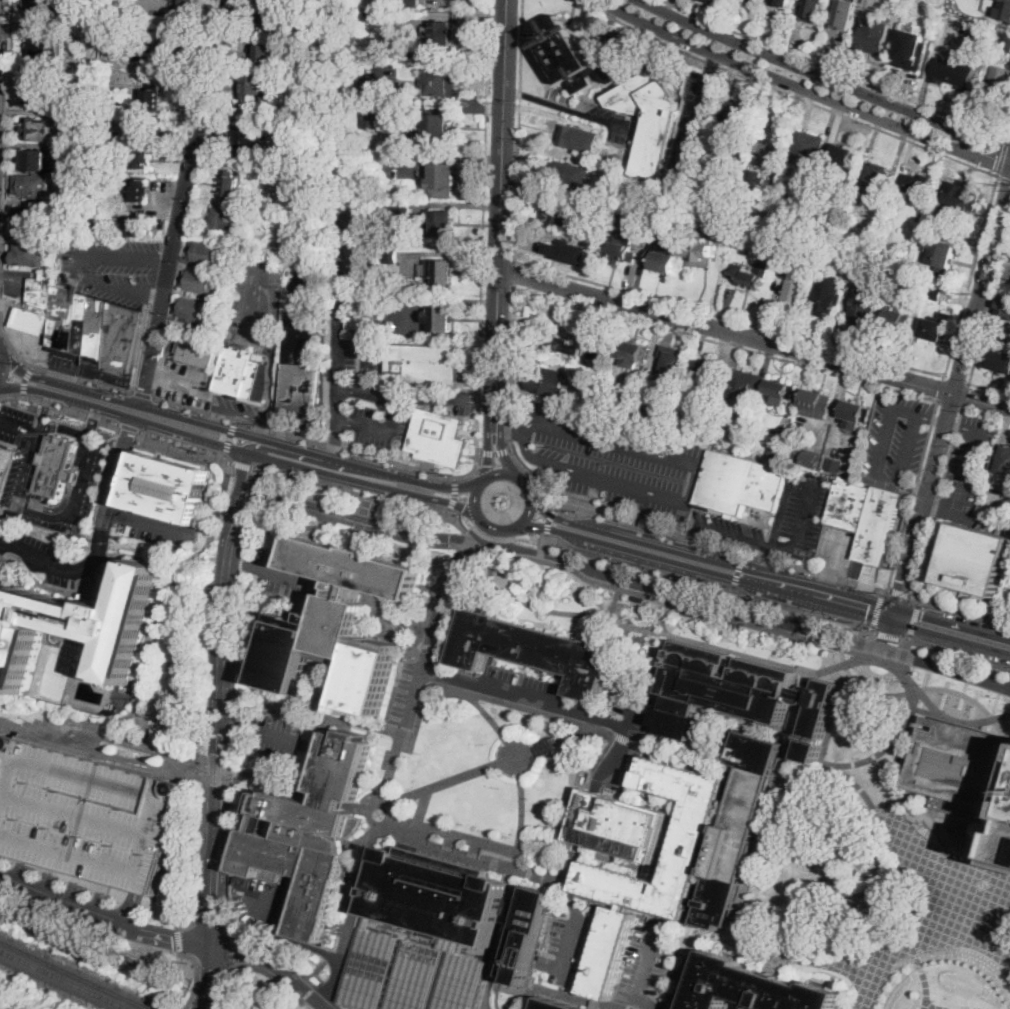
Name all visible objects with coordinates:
building: (272, 1)
building: (710, 1)
building: (411, 2)
building: (781, 2)
building: (375, 3)
road: (669, 5)
building: (182, 6)
building: (46, 7)
building: (1000, 8)
building: (813, 10)
building: (131, 11)
building: (922, 11)
building: (408, 14)
building: (846, 15)
building: (276, 20)
building: (981, 30)
building: (94, 31)
road: (641, 32)
building: (175, 33)
building: (443, 33)
building: (874, 36)
building: (140, 39)
building: (1006, 42)
building: (111, 43)
building: (46, 46)
building: (911, 48)
building: (269, 53)
building: (107, 54)
road: (713, 62)
road: (712, 65)
road: (834, 70)
building: (954, 74)
road: (825, 76)
building: (445, 84)
building: (260, 86)
building: (996, 86)
road: (803, 88)
building: (615, 91)
building: (42, 93)
building: (400, 94)
building: (149, 96)
road: (536, 98)
building: (94, 109)
building: (321, 112)
building: (375, 117)
road: (603, 119)
building: (88, 120)
building: (739, 120)
road: (859, 120)
building: (115, 124)
building: (38, 129)
building: (143, 129)
road: (519, 129)
building: (94, 131)
building: (435, 131)
road: (694, 131)
building: (579, 138)
road: (1008, 138)
road: (1009, 138)
building: (245, 142)
road: (6, 147)
building: (807, 149)
building: (110, 150)
building: (87, 153)
building: (844, 154)
road: (1002, 155)
building: (137, 159)
building: (40, 160)
traffic signals: (994, 164)
building: (568, 175)
road: (1003, 178)
building: (443, 180)
building: (752, 183)
building: (874, 183)
building: (230, 184)
building: (637, 184)
traffic signals: (1009, 184)
building: (917, 185)
building: (33, 186)
building: (132, 191)
building: (959, 198)
road: (187, 202)
building: (821, 205)
building: (663, 210)
building: (105, 211)
building: (557, 211)
building: (738, 213)
road: (499, 214)
building: (701, 215)
building: (30, 216)
building: (388, 216)
building: (225, 219)
building: (723, 221)
building: (311, 224)
building: (130, 225)
building: (443, 225)
building: (786, 225)
building: (288, 234)
building: (789, 240)
building: (54, 242)
building: (621, 243)
building: (698, 248)
road: (351, 250)
building: (941, 251)
building: (565, 252)
building: (206, 253)
building: (30, 254)
building: (390, 256)
building: (663, 256)
building: (305, 257)
building: (847, 259)
building: (864, 263)
road: (83, 264)
parking lot: (114, 267)
road: (514, 271)
building: (441, 273)
building: (747, 277)
building: (794, 277)
building: (199, 280)
building: (919, 289)
building: (935, 293)
road: (307, 295)
building: (827, 295)
building: (219, 297)
building: (865, 302)
road: (340, 304)
building: (1004, 305)
building: (533, 309)
road: (989, 309)
building: (196, 310)
road: (253, 312)
road: (0, 318)
building: (897, 318)
building: (1009, 318)
building: (441, 320)
building: (30, 321)
building: (361, 321)
building: (88, 325)
building: (936, 326)
road: (753, 338)
building: (563, 344)
road: (725, 344)
road: (832, 347)
road: (369, 349)
road: (2, 351)
road: (339, 352)
building: (633, 353)
building: (196, 354)
building: (256, 356)
road: (283, 359)
building: (1001, 359)
road: (511, 361)
building: (673, 362)
parking lot: (64, 364)
building: (425, 364)
building: (302, 368)
road: (5, 369)
building: (243, 377)
building: (707, 377)
road: (24, 379)
building: (588, 380)
road: (958, 380)
road: (270, 382)
parking lot: (182, 383)
building: (547, 383)
building: (746, 386)
road: (943, 389)
road: (990, 389)
building: (779, 392)
road: (953, 394)
road: (108, 395)
road: (966, 396)
road: (402, 397)
road: (480, 400)
building: (816, 403)
road: (61, 405)
road: (951, 405)
building: (630, 411)
road: (905, 412)
road: (243, 414)
building: (854, 414)
road: (986, 414)
road: (126, 415)
road: (339, 415)
building: (649, 415)
road: (297, 416)
road: (219, 417)
road: (931, 418)
road: (953, 425)
road: (129, 427)
road: (18, 428)
road: (64, 429)
road: (262, 429)
road: (279, 429)
road: (506, 429)
road: (237, 432)
road: (383, 432)
parking lot: (896, 436)
road: (229, 437)
building: (438, 438)
road: (266, 440)
road: (276, 443)
road: (885, 443)
road: (260, 444)
road: (925, 444)
road: (184, 448)
building: (778, 448)
road: (908, 449)
road: (501, 451)
road: (489, 452)
road: (494, 452)
building: (3, 456)
road: (972, 458)
parking lot: (608, 459)
building: (812, 459)
road: (948, 461)
building: (1005, 461)
building: (834, 465)
parking lot: (968, 465)
road: (250, 466)
parking lot: (22, 467)
building: (56, 467)
road: (377, 470)
road: (247, 471)
road: (498, 473)
road: (441, 475)
road: (268, 478)
road: (811, 479)
road: (888, 480)
road: (482, 481)
building: (739, 481)
road: (365, 482)
road: (524, 483)
road: (691, 483)
building: (167, 487)
road: (912, 488)
road: (453, 493)
road: (360, 494)
road: (261, 495)
road: (943, 497)
road: (473, 499)
road: (57, 509)
building: (6, 512)
road: (447, 512)
road: (527, 512)
building: (628, 515)
road: (41, 516)
building: (866, 517)
road: (361, 520)
road: (549, 520)
parking lot: (777, 520)
road: (482, 522)
road: (151, 523)
road: (454, 525)
parking lot: (881, 525)
road: (247, 527)
parking lot: (161, 529)
road: (504, 529)
road: (487, 532)
road: (458, 536)
road: (683, 536)
road: (734, 536)
road: (99, 538)
road: (689, 539)
road: (900, 540)
road: (197, 544)
road: (460, 545)
road: (836, 549)
parking lot: (837, 549)
road: (922, 554)
road: (470, 555)
parking lot: (52, 556)
road: (710, 559)
road: (773, 559)
building: (976, 559)
road: (242, 562)
building: (4, 569)
parking garage: (4, 569)
road: (705, 570)
road: (273, 571)
parking lot: (281, 576)
road: (828, 577)
road: (867, 580)
road: (100, 581)
traffic signals: (904, 581)
road: (699, 582)
road: (684, 593)
road: (900, 593)
road: (918, 604)
road: (878, 609)
road: (959, 612)
road: (668, 613)
traffic signals: (866, 614)
road: (895, 615)
traffic signals: (921, 616)
road: (927, 617)
road: (221, 621)
road: (444, 621)
road: (913, 621)
road: (750, 623)
building: (338, 624)
building: (735, 624)
road: (432, 626)
building: (85, 627)
road: (889, 633)
road: (984, 633)
road: (889, 636)
road: (909, 637)
road: (951, 638)
building: (795, 640)
traffic signals: (889, 641)
building: (534, 651)
road: (954, 651)
road: (737, 654)
road: (902, 655)
road: (149, 668)
road: (615, 672)
road: (964, 673)
park: (54, 676)
parking lot: (523, 680)
road: (945, 691)
building: (973, 691)
building: (738, 694)
parking lot: (400, 696)
road: (470, 699)
road: (488, 700)
road: (946, 700)
street lamp: (484, 703)
road: (315, 714)
road: (630, 714)
street lamp: (527, 715)
road: (619, 726)
street lamp: (421, 727)
road: (795, 728)
street lamp: (529, 729)
road: (558, 730)
road: (403, 731)
road: (260, 736)
parking lot: (272, 739)
road: (510, 740)
road: (563, 740)
road: (626, 741)
building: (546, 744)
street lamp: (482, 746)
road: (903, 750)
street lamp: (420, 754)
road: (182, 762)
road: (392, 765)
building: (963, 768)
street lamp: (397, 769)
road: (218, 770)
street lamp: (542, 773)
park: (497, 774)
road: (759, 778)
road: (446, 783)
street lamp: (498, 789)
road: (586, 789)
street lamp: (527, 798)
road: (422, 807)
street lamp: (400, 809)
road: (362, 811)
building: (86, 812)
parking garage: (86, 812)
street lamp: (413, 812)
street lamp: (406, 816)
street lamp: (525, 816)
street lamp: (435, 818)
road: (230, 824)
road: (520, 824)
street lamp: (460, 825)
road: (935, 826)
building: (742, 828)
building: (627, 829)
street lamp: (484, 831)
building: (309, 833)
road: (459, 835)
street lamp: (508, 837)
road: (544, 841)
road: (449, 843)
road: (439, 850)
road: (474, 850)
road: (819, 851)
road: (497, 855)
road: (995, 858)
building: (1003, 860)
road: (551, 861)
road: (511, 868)
road: (213, 869)
road: (536, 876)
building: (616, 880)
road: (550, 881)
road: (95, 883)
road: (564, 887)
road: (198, 888)
road: (358, 890)
road: (832, 893)
building: (436, 894)
road: (131, 907)
road: (925, 908)
road: (649, 914)
road: (104, 917)
road: (209, 921)
road: (713, 931)
road: (510, 934)
building: (528, 935)
road: (703, 935)
road: (178, 938)
road: (289, 942)
parking lot: (570, 948)
road: (567, 950)
traffic signals: (213, 951)
road: (233, 952)
road: (645, 955)
road: (782, 957)
road: (780, 958)
parking lot: (641, 960)
road: (250, 967)
road: (275, 967)
building: (368, 968)
railway: (76, 974)
road: (197, 974)
road: (680, 974)
road: (334, 977)
building: (435, 977)
railway: (67, 978)
road: (317, 978)
road: (207, 980)
road: (925, 980)
road: (489, 985)
road: (319, 986)
building: (752, 988)
road: (561, 991)
road: (308, 994)
road: (564, 997)
road: (645, 1002)
building: (597, 1003)
building: (557, 1005)
road: (936, 1007)
road: (0, 1008)

